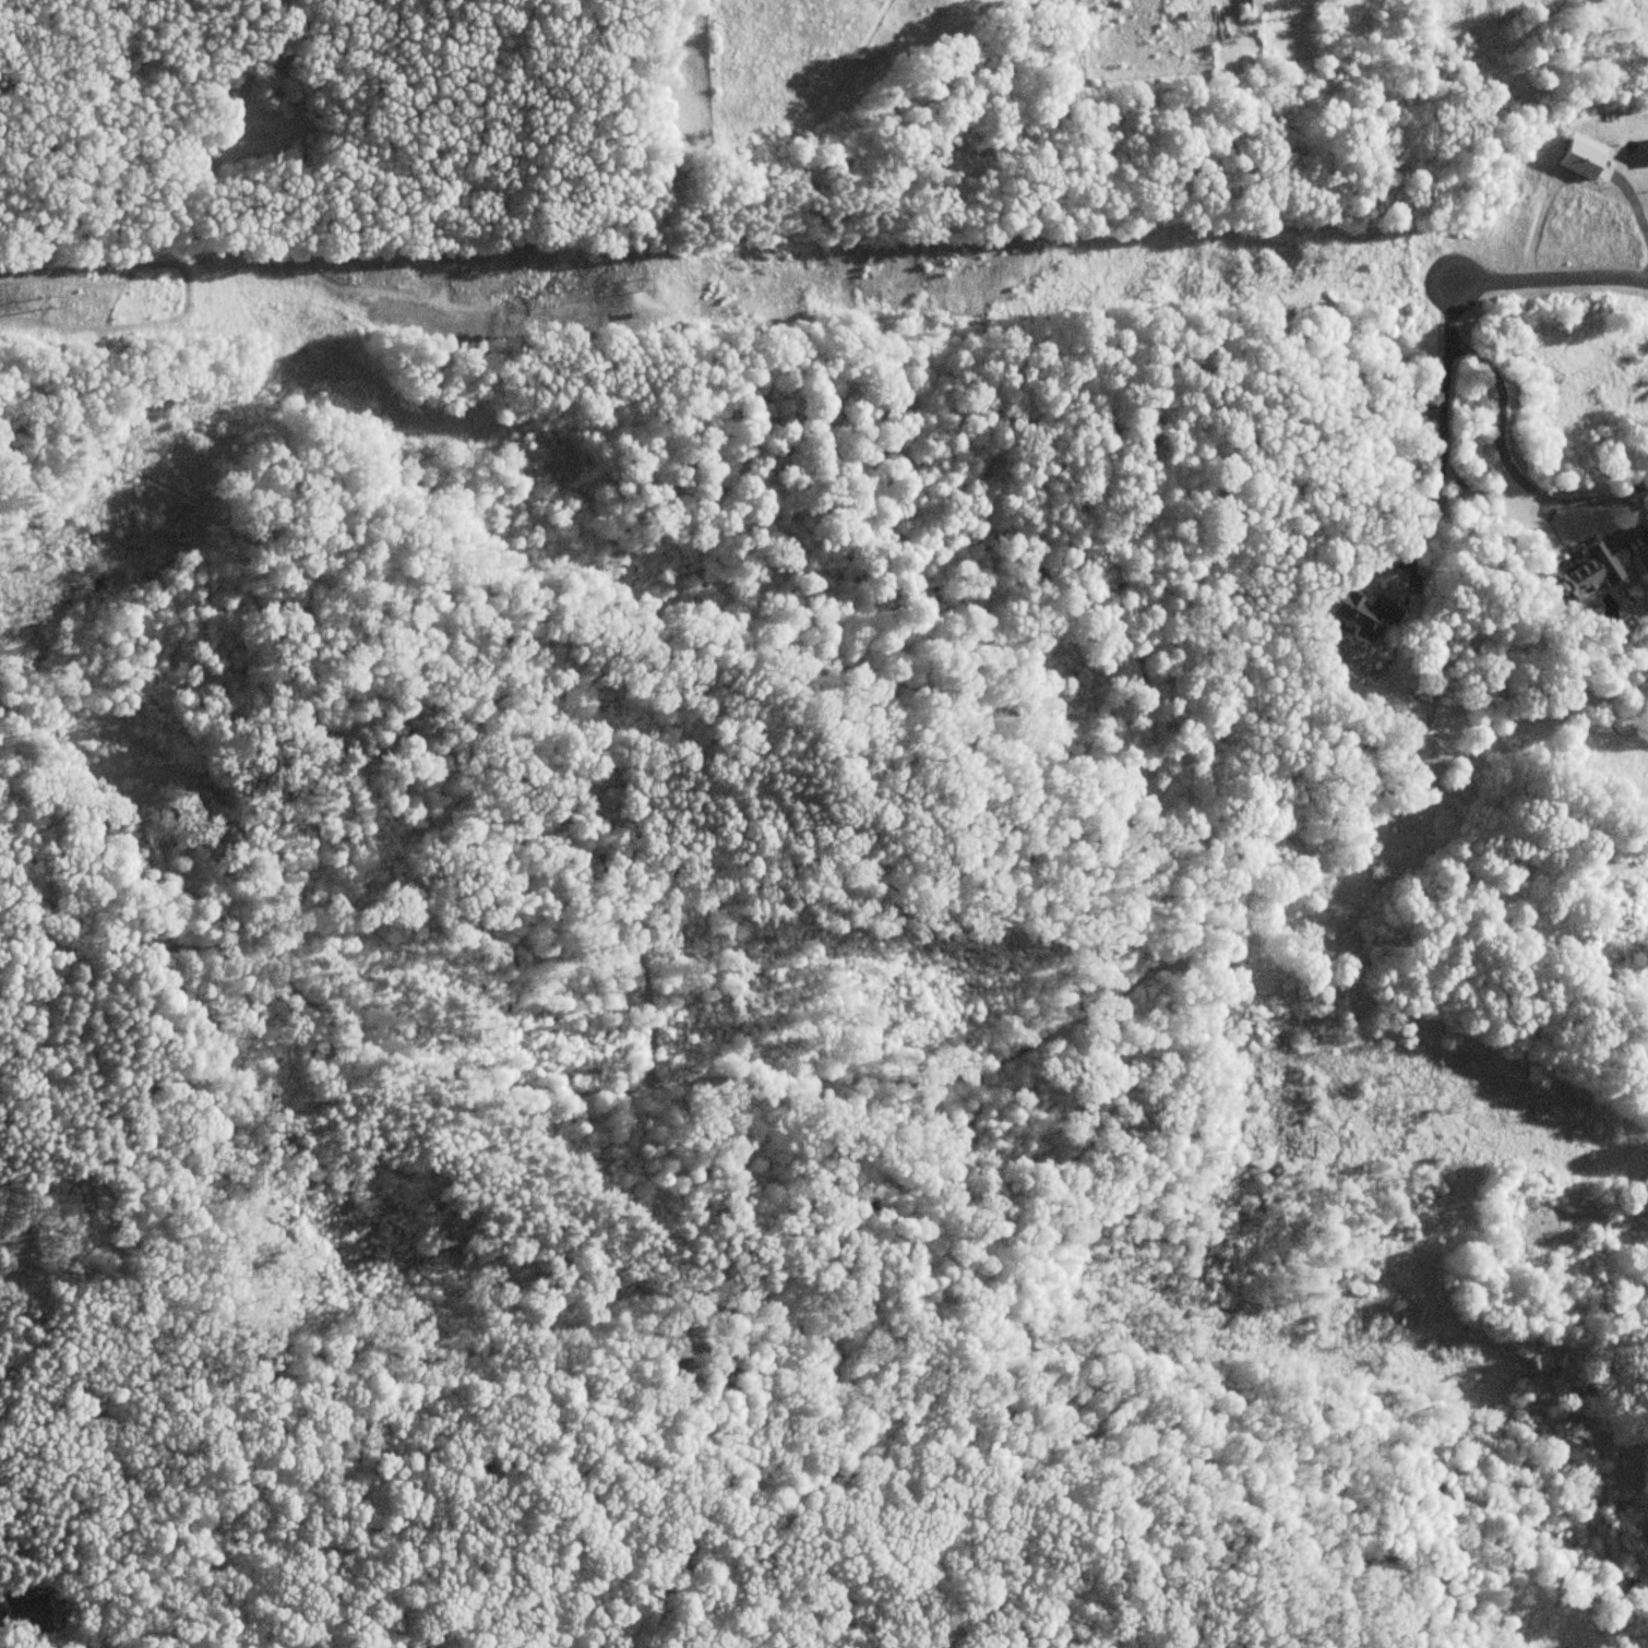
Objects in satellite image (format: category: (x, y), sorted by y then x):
building: (1249, 5)
road: (1549, 278)
road: (1450, 311)
road: (1507, 461)
road: (1440, 469)
building: (1643, 562)
building: (1590, 571)
building: (1360, 612)
building: (24, 1612)

